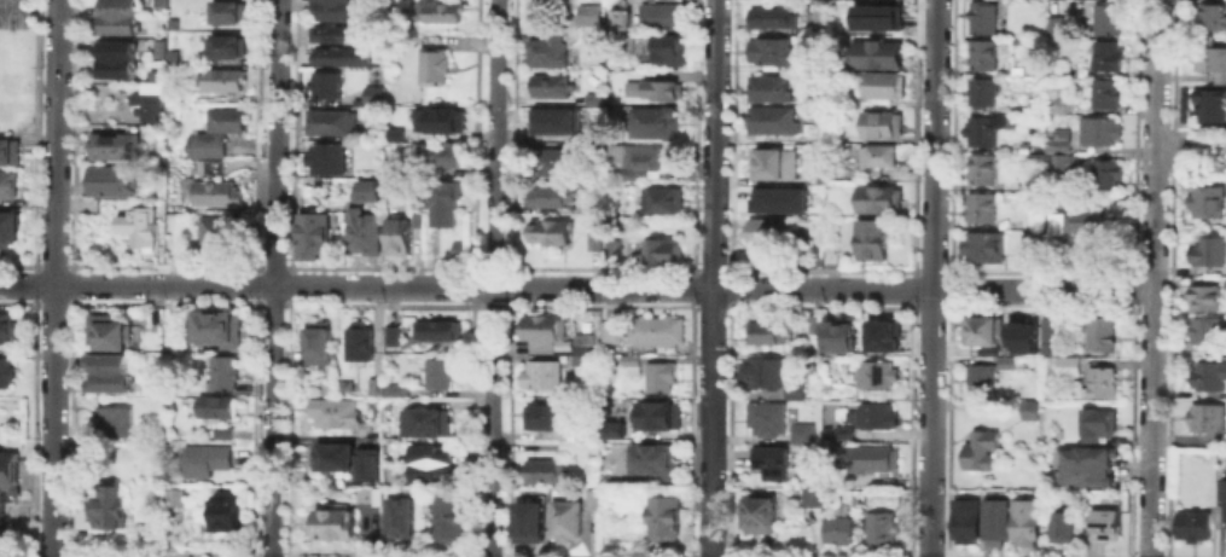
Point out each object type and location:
road: (7, 0)
building: (157, 1)
building: (331, 8)
building: (436, 10)
building: (225, 11)
building: (587, 13)
building: (660, 13)
building: (114, 16)
building: (877, 16)
building: (1209, 16)
building: (769, 17)
building: (981, 17)
building: (1103, 17)
building: (170, 21)
building: (616, 22)
building: (1052, 25)
building: (339, 33)
building: (155, 45)
building: (220, 45)
building: (658, 45)
building: (772, 50)
building: (545, 51)
building: (873, 52)
building: (978, 53)
building: (1104, 54)
building: (341, 56)
building: (169, 57)
building: (114, 58)
building: (1210, 60)
building: (431, 64)
road: (1155, 74)
building: (221, 79)
building: (320, 82)
building: (881, 83)
building: (547, 85)
building: (767, 86)
building: (661, 88)
building: (978, 89)
building: (370, 92)
building: (1103, 92)
building: (145, 93)
building: (847, 94)
building: (592, 98)
building: (1051, 101)
building: (1207, 103)
building: (223, 117)
building: (647, 117)
building: (437, 118)
building: (768, 118)
building: (327, 120)
building: (551, 120)
building: (879, 122)
building: (981, 128)
building: (1096, 129)
building: (589, 132)
building: (831, 135)
building: (1057, 135)
building: (202, 141)
building: (112, 144)
road: (1190, 149)
building: (8, 150)
building: (436, 152)
building: (323, 155)
building: (872, 155)
building: (633, 158)
building: (548, 159)
building: (1057, 161)
building: (210, 162)
building: (767, 162)
building: (977, 167)
building: (1106, 169)
building: (812, 176)
building: (110, 182)
building: (6, 184)
building: (362, 186)
building: (214, 191)
building: (545, 192)
building: (876, 197)
building: (777, 198)
building: (438, 199)
building: (1204, 199)
building: (658, 201)
building: (977, 207)
building: (1080, 220)
building: (1052, 221)
building: (7, 225)
building: (140, 227)
building: (361, 227)
building: (215, 228)
building: (763, 228)
building: (547, 230)
building: (308, 233)
building: (396, 236)
building: (868, 239)
building: (983, 242)
building: (1025, 243)
building: (599, 244)
building: (660, 248)
building: (1204, 250)
road: (57, 278)
road: (273, 278)
road: (492, 278)
road: (710, 278)
road: (932, 278)
building: (1225, 282)
road: (576, 286)
building: (1195, 297)
building: (810, 324)
building: (436, 325)
building: (214, 326)
building: (6, 327)
building: (1204, 327)
building: (978, 329)
building: (1045, 329)
building: (539, 330)
building: (609, 330)
building: (653, 330)
building: (766, 331)
building: (1098, 331)
building: (881, 333)
building: (111, 335)
building: (150, 335)
building: (390, 335)
building: (837, 335)
building: (1021, 335)
building: (355, 338)
building: (316, 341)
building: (580, 346)
road: (1151, 353)
building: (1003, 359)
building: (628, 361)
building: (1065, 365)
building: (5, 371)
building: (105, 371)
building: (220, 371)
building: (435, 371)
building: (540, 373)
building: (872, 373)
building: (1205, 373)
building: (766, 375)
building: (656, 376)
building: (977, 379)
building: (1097, 381)
building: (372, 384)
building: (393, 385)
building: (214, 405)
building: (1025, 406)
building: (331, 411)
building: (541, 413)
building: (873, 413)
building: (763, 417)
building: (1203, 417)
building: (655, 418)
building: (109, 419)
building: (424, 422)
building: (1097, 423)
building: (221, 430)
building: (839, 430)
building: (798, 431)
building: (610, 433)
building: (977, 447)
building: (331, 454)
building: (870, 457)
building: (203, 458)
building: (652, 459)
building: (766, 460)
building: (365, 463)
building: (426, 463)
building: (1081, 463)
building: (539, 469)
building: (5, 474)
building: (599, 480)
building: (808, 494)
building: (587, 495)
building: (170, 497)
building: (370, 501)
building: (105, 504)
building: (1225, 505)
building: (222, 507)
building: (756, 511)
building: (446, 514)
building: (395, 516)
building: (524, 516)
building: (660, 516)
building: (562, 518)
building: (963, 518)
building: (327, 520)
building: (992, 520)
building: (1022, 521)
building: (1056, 521)
building: (1102, 523)
building: (1190, 524)
building: (879, 528)
building: (835, 529)

